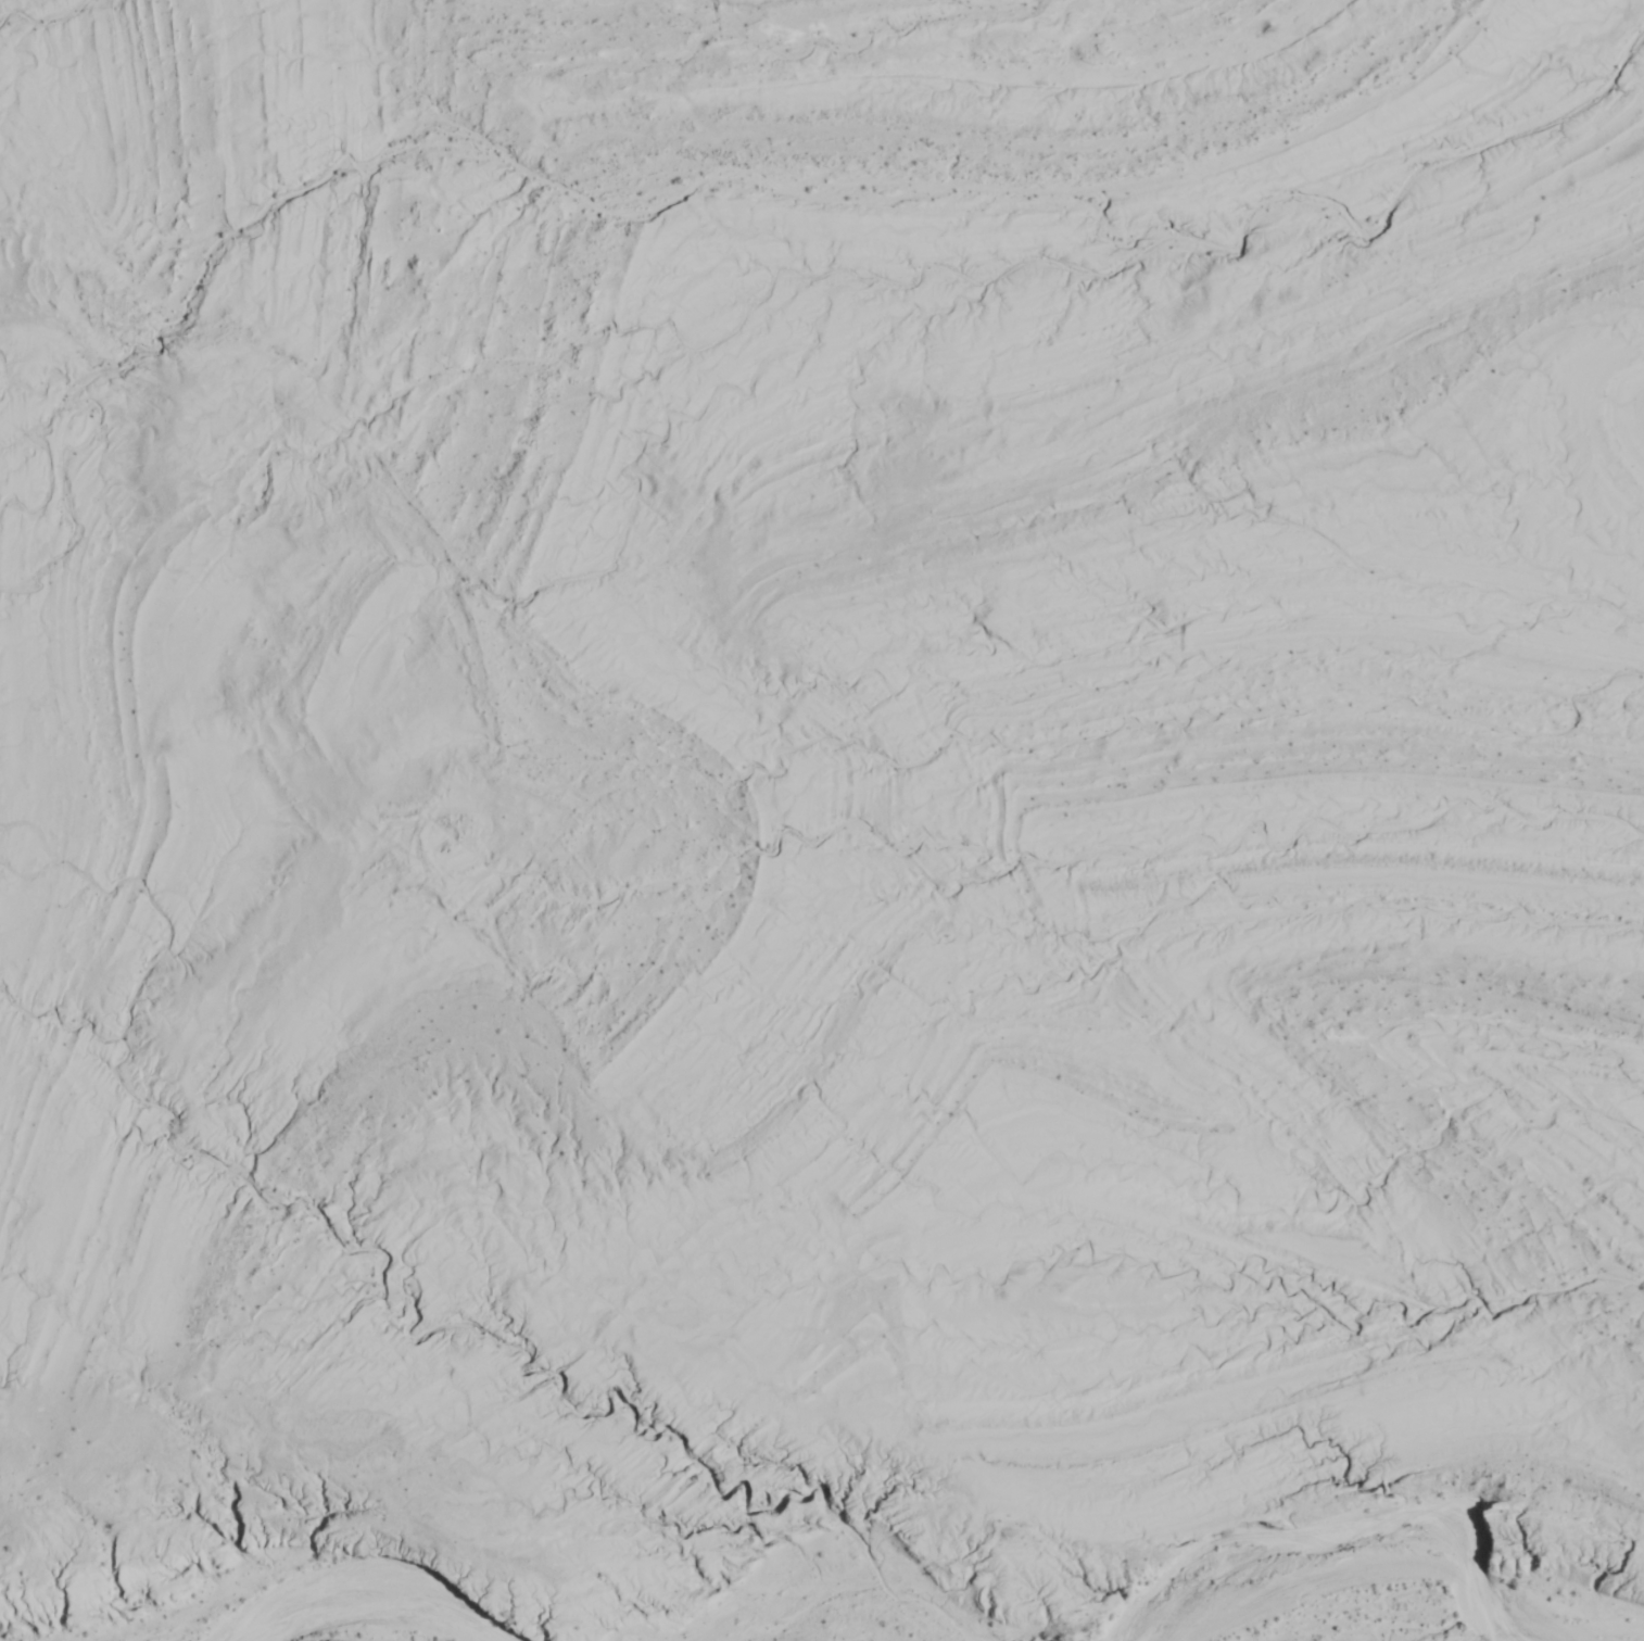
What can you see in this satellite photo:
road: (1352, 1567)
road: (363, 1601)

